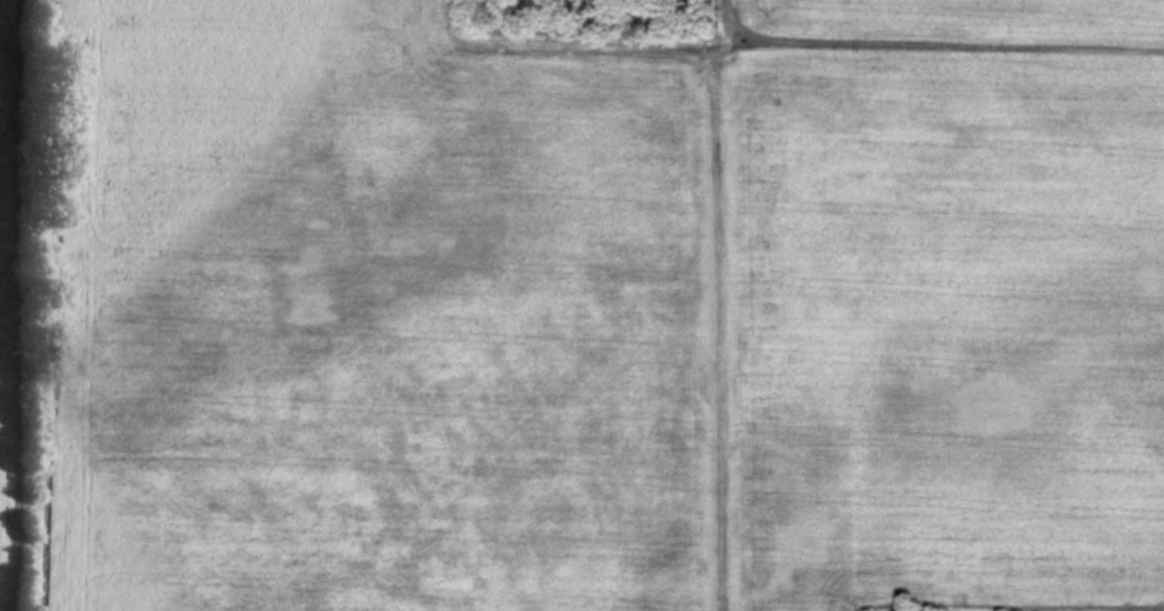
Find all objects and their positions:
building: (937, 610)

